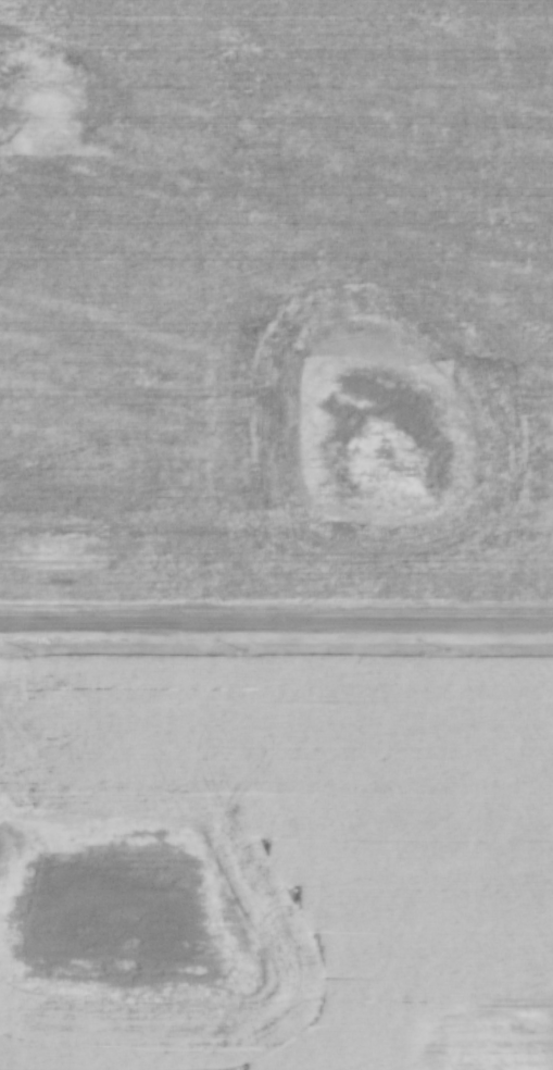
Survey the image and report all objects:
road: (276, 622)

